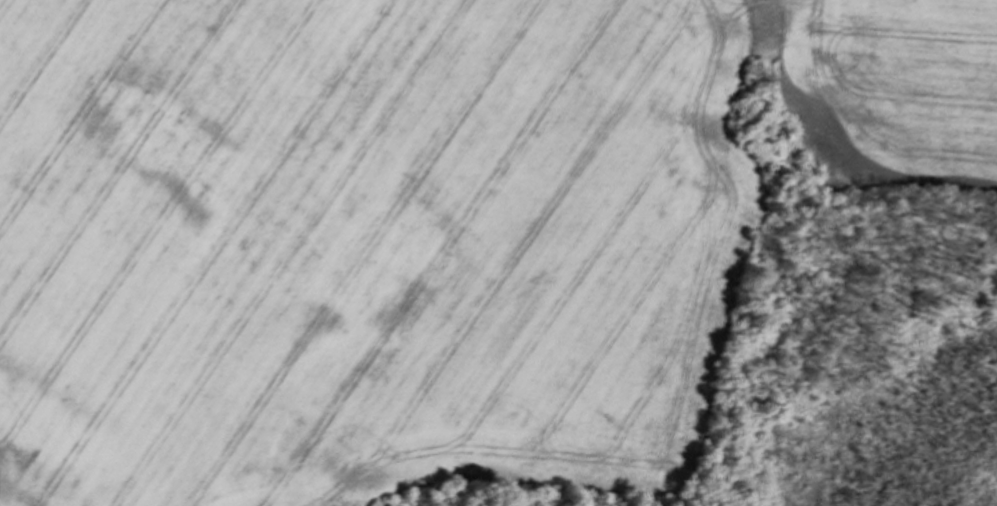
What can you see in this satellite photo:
crop: (426, 230)

